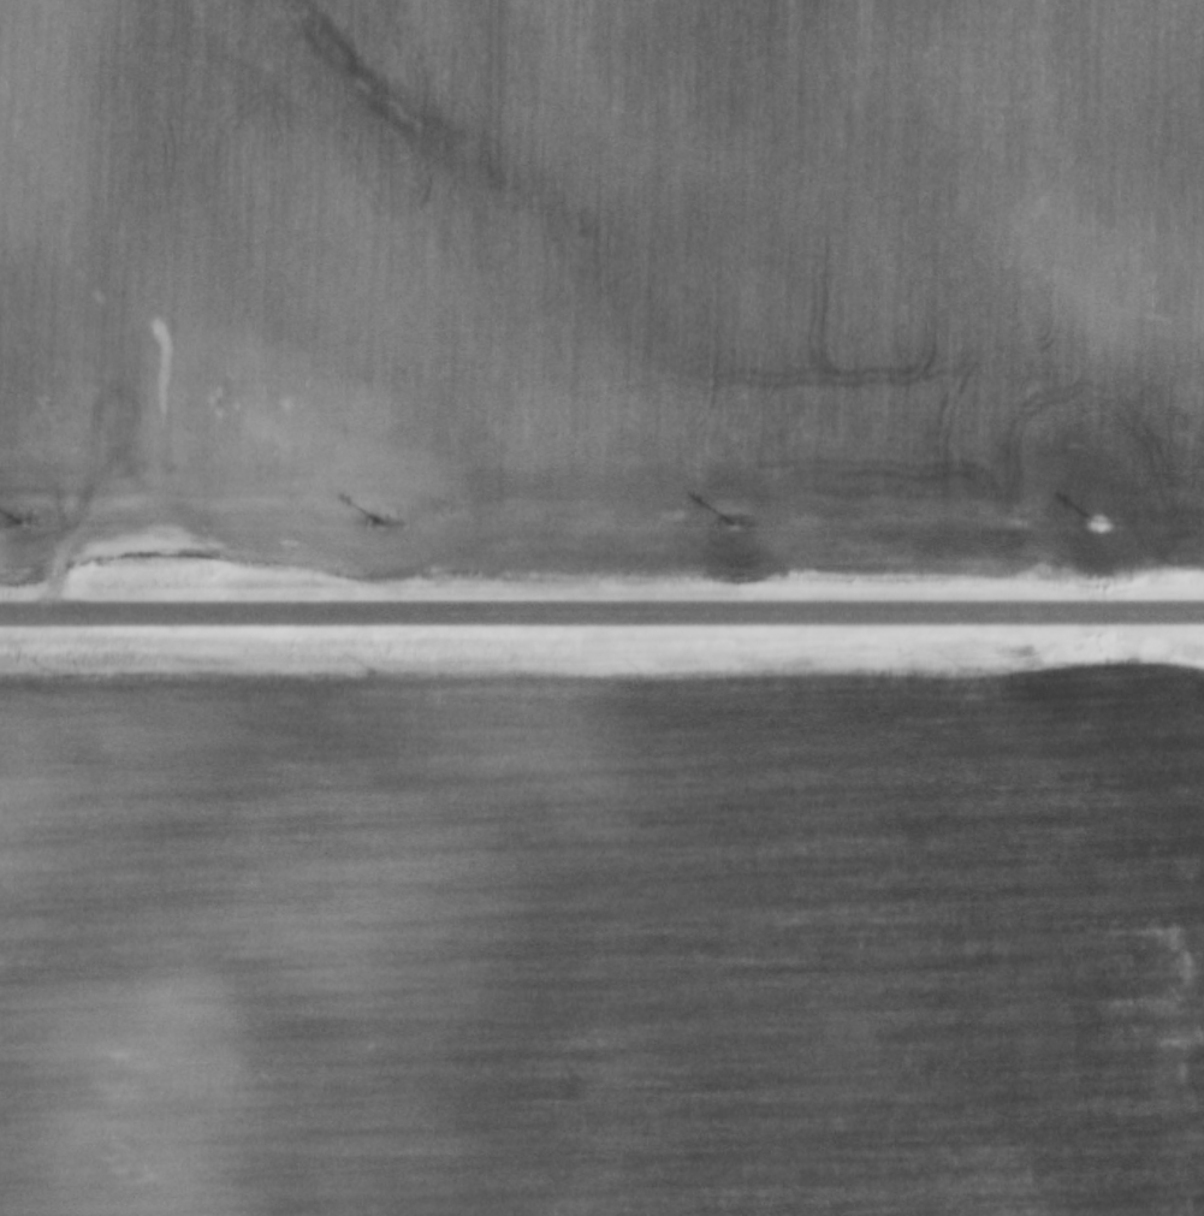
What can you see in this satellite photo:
road: (601, 609)

